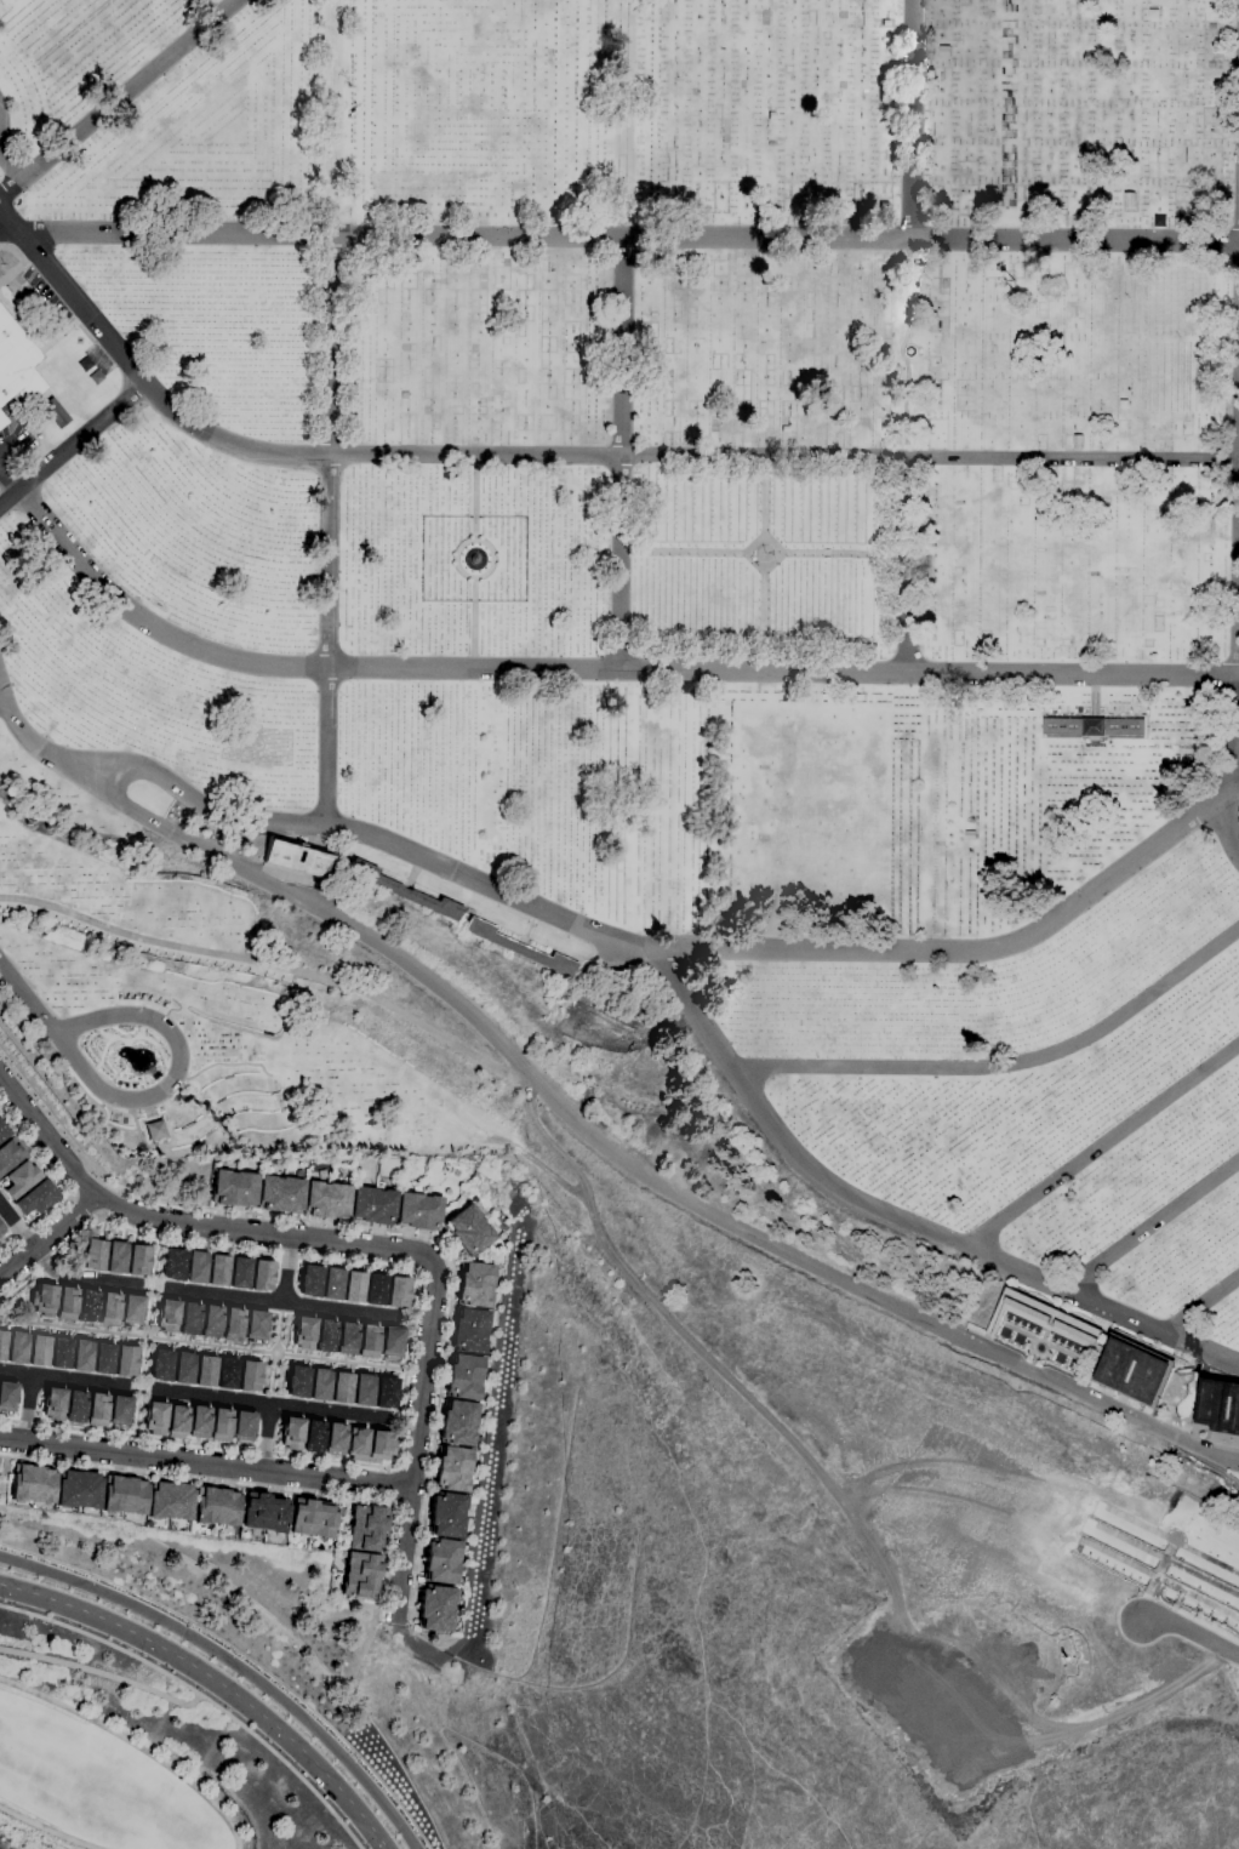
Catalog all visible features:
building: (1154, 13)
building: (885, 22)
building: (946, 50)
building: (884, 97)
road: (126, 99)
building: (771, 115)
road: (912, 119)
road: (10, 171)
building: (992, 192)
building: (1130, 199)
road: (7, 232)
road: (626, 236)
flagpole: (0, 263)
road: (623, 332)
building: (16, 366)
building: (1124, 403)
road: (326, 410)
building: (784, 428)
road: (73, 445)
road: (909, 455)
road: (567, 458)
road: (11, 479)
road: (764, 498)
road: (474, 500)
road: (685, 553)
road: (844, 554)
fountain: (473, 559)
road: (764, 570)
road: (474, 577)
road: (763, 618)
road: (473, 622)
road: (596, 666)
road: (2, 707)
building: (1094, 726)
road: (1224, 781)
park: (690, 809)
building: (970, 834)
building: (279, 858)
building: (405, 891)
building: (520, 948)
road: (670, 948)
road: (270, 965)
road: (29, 1000)
road: (1006, 1068)
road: (122, 1096)
road: (584, 1124)
building: (155, 1130)
building: (2, 1131)
road: (1100, 1145)
building: (11, 1152)
building: (18, 1180)
road: (63, 1187)
building: (234, 1188)
building: (280, 1193)
building: (35, 1199)
building: (326, 1199)
building: (372, 1205)
building: (418, 1211)
road: (1148, 1220)
road: (897, 1222)
road: (185, 1225)
road: (18, 1227)
building: (1, 1231)
building: (470, 1231)
road: (50, 1240)
building: (93, 1254)
building: (115, 1257)
road: (451, 1259)
building: (137, 1260)
building: (173, 1265)
building: (195, 1267)
building: (217, 1271)
road: (287, 1271)
building: (239, 1273)
building: (261, 1276)
road: (84, 1278)
building: (309, 1280)
building: (331, 1284)
building: (475, 1284)
building: (353, 1286)
building: (375, 1289)
building: (398, 1291)
building: (42, 1300)
road: (281, 1302)
building: (65, 1305)
building: (87, 1306)
road: (1201, 1306)
building: (109, 1309)
building: (132, 1311)
building: (167, 1316)
building: (189, 1318)
building: (1043, 1318)
building: (211, 1320)
building: (233, 1325)
building: (255, 1325)
building: (469, 1331)
building: (303, 1332)
building: (325, 1335)
road: (147, 1337)
building: (347, 1337)
building: (369, 1341)
building: (390, 1341)
road: (409, 1341)
building: (2, 1345)
building: (16, 1347)
building: (38, 1349)
building: (59, 1353)
building: (81, 1356)
building: (103, 1358)
building: (125, 1360)
building: (161, 1365)
building: (183, 1368)
building: (1132, 1370)
building: (205, 1371)
road: (424, 1373)
building: (225, 1374)
building: (249, 1376)
building: (464, 1376)
road: (63, 1379)
building: (297, 1382)
building: (319, 1385)
building: (341, 1388)
building: (362, 1389)
building: (384, 1393)
building: (6, 1396)
road: (268, 1403)
building: (53, 1404)
building: (1218, 1405)
building: (75, 1406)
road: (25, 1408)
building: (97, 1410)
building: (120, 1411)
building: (154, 1417)
building: (176, 1421)
building: (199, 1422)
building: (458, 1422)
building: (219, 1426)
building: (242, 1426)
building: (291, 1433)
building: (313, 1436)
road: (264, 1437)
building: (335, 1439)
building: (356, 1444)
building: (379, 1446)
road: (205, 1462)
building: (452, 1470)
road: (390, 1485)
building: (53, 1486)
road: (252, 1488)
building: (124, 1495)
building: (170, 1501)
building: (216, 1506)
building: (264, 1513)
building: (446, 1516)
building: (312, 1519)
building: (366, 1528)
road: (402, 1556)
building: (440, 1562)
building: (360, 1576)
building: (435, 1609)
road: (1189, 1631)
road: (242, 1657)
road: (234, 1663)
road: (216, 1683)
road: (113, 1687)
road: (200, 1696)
building: (189, 1702)
building: (198, 1707)
building: (205, 1713)
building: (212, 1716)
road: (133, 1745)
park: (133, 1757)
building: (298, 1762)
building: (346, 1814)
road: (48, 1828)

